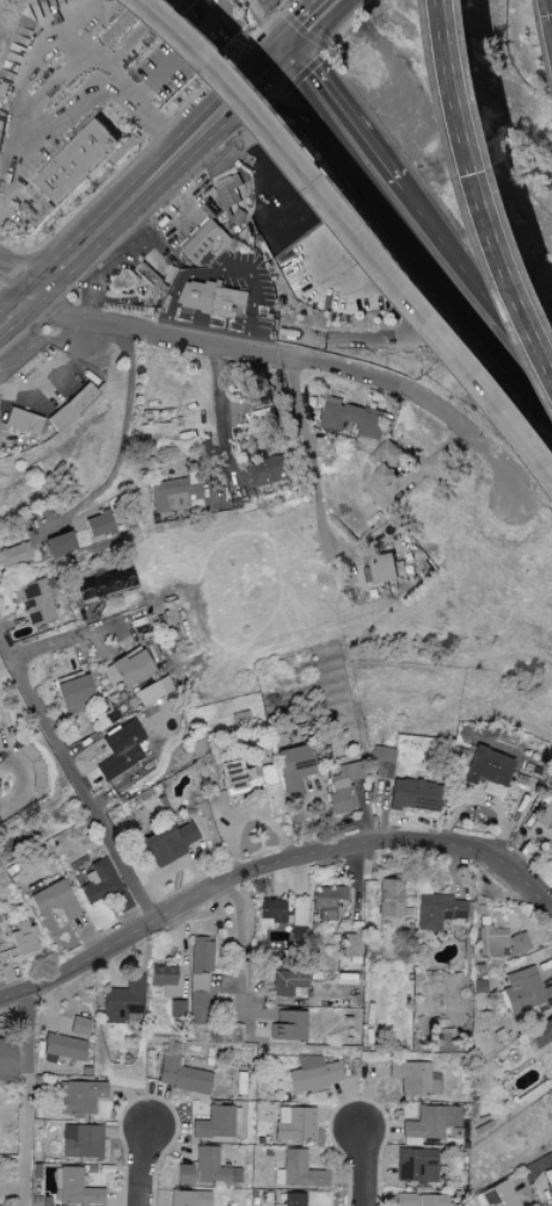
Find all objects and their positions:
road: (311, 26)
road: (264, 28)
road: (76, 36)
traffic signals: (283, 53)
road: (158, 77)
road: (65, 114)
road: (338, 123)
building: (1, 128)
building: (80, 160)
road: (495, 177)
road: (143, 189)
building: (239, 215)
road: (364, 225)
road: (128, 227)
building: (207, 242)
road: (151, 254)
road: (227, 266)
road: (85, 273)
road: (104, 273)
building: (153, 281)
road: (14, 285)
road: (471, 293)
building: (210, 294)
road: (137, 299)
power tower: (329, 351)
road: (296, 354)
road: (222, 404)
building: (73, 407)
building: (355, 418)
building: (22, 421)
road: (125, 426)
building: (387, 462)
road: (313, 464)
road: (431, 467)
building: (269, 469)
building: (173, 494)
building: (99, 524)
building: (60, 544)
building: (14, 554)
building: (386, 567)
building: (105, 583)
building: (35, 601)
road: (59, 638)
road: (1, 651)
building: (129, 668)
building: (72, 690)
building: (153, 690)
building: (240, 719)
building: (121, 749)
building: (381, 760)
building: (489, 767)
building: (294, 768)
building: (252, 781)
road: (24, 782)
road: (75, 784)
building: (343, 786)
building: (415, 794)
building: (541, 822)
building: (168, 841)
building: (550, 843)
road: (280, 858)
building: (98, 882)
building: (388, 897)
building: (54, 899)
building: (326, 900)
building: (270, 909)
building: (299, 910)
building: (437, 910)
building: (20, 939)
building: (498, 940)
building: (350, 946)
road: (238, 951)
building: (545, 971)
building: (164, 977)
building: (198, 977)
building: (288, 982)
building: (523, 993)
building: (124, 1000)
building: (177, 1007)
building: (79, 1025)
building: (288, 1025)
building: (540, 1033)
building: (63, 1048)
building: (7, 1059)
building: (313, 1073)
building: (182, 1076)
building: (413, 1077)
road: (17, 1095)
building: (79, 1096)
building: (431, 1121)
building: (215, 1122)
building: (293, 1122)
building: (81, 1140)
building: (416, 1164)
road: (541, 1164)
road: (133, 1168)
building: (213, 1168)
road: (357, 1168)
building: (298, 1170)
building: (184, 1174)
building: (548, 1178)
building: (74, 1188)
building: (497, 1195)
building: (189, 1198)
building: (293, 1199)
building: (421, 1199)

